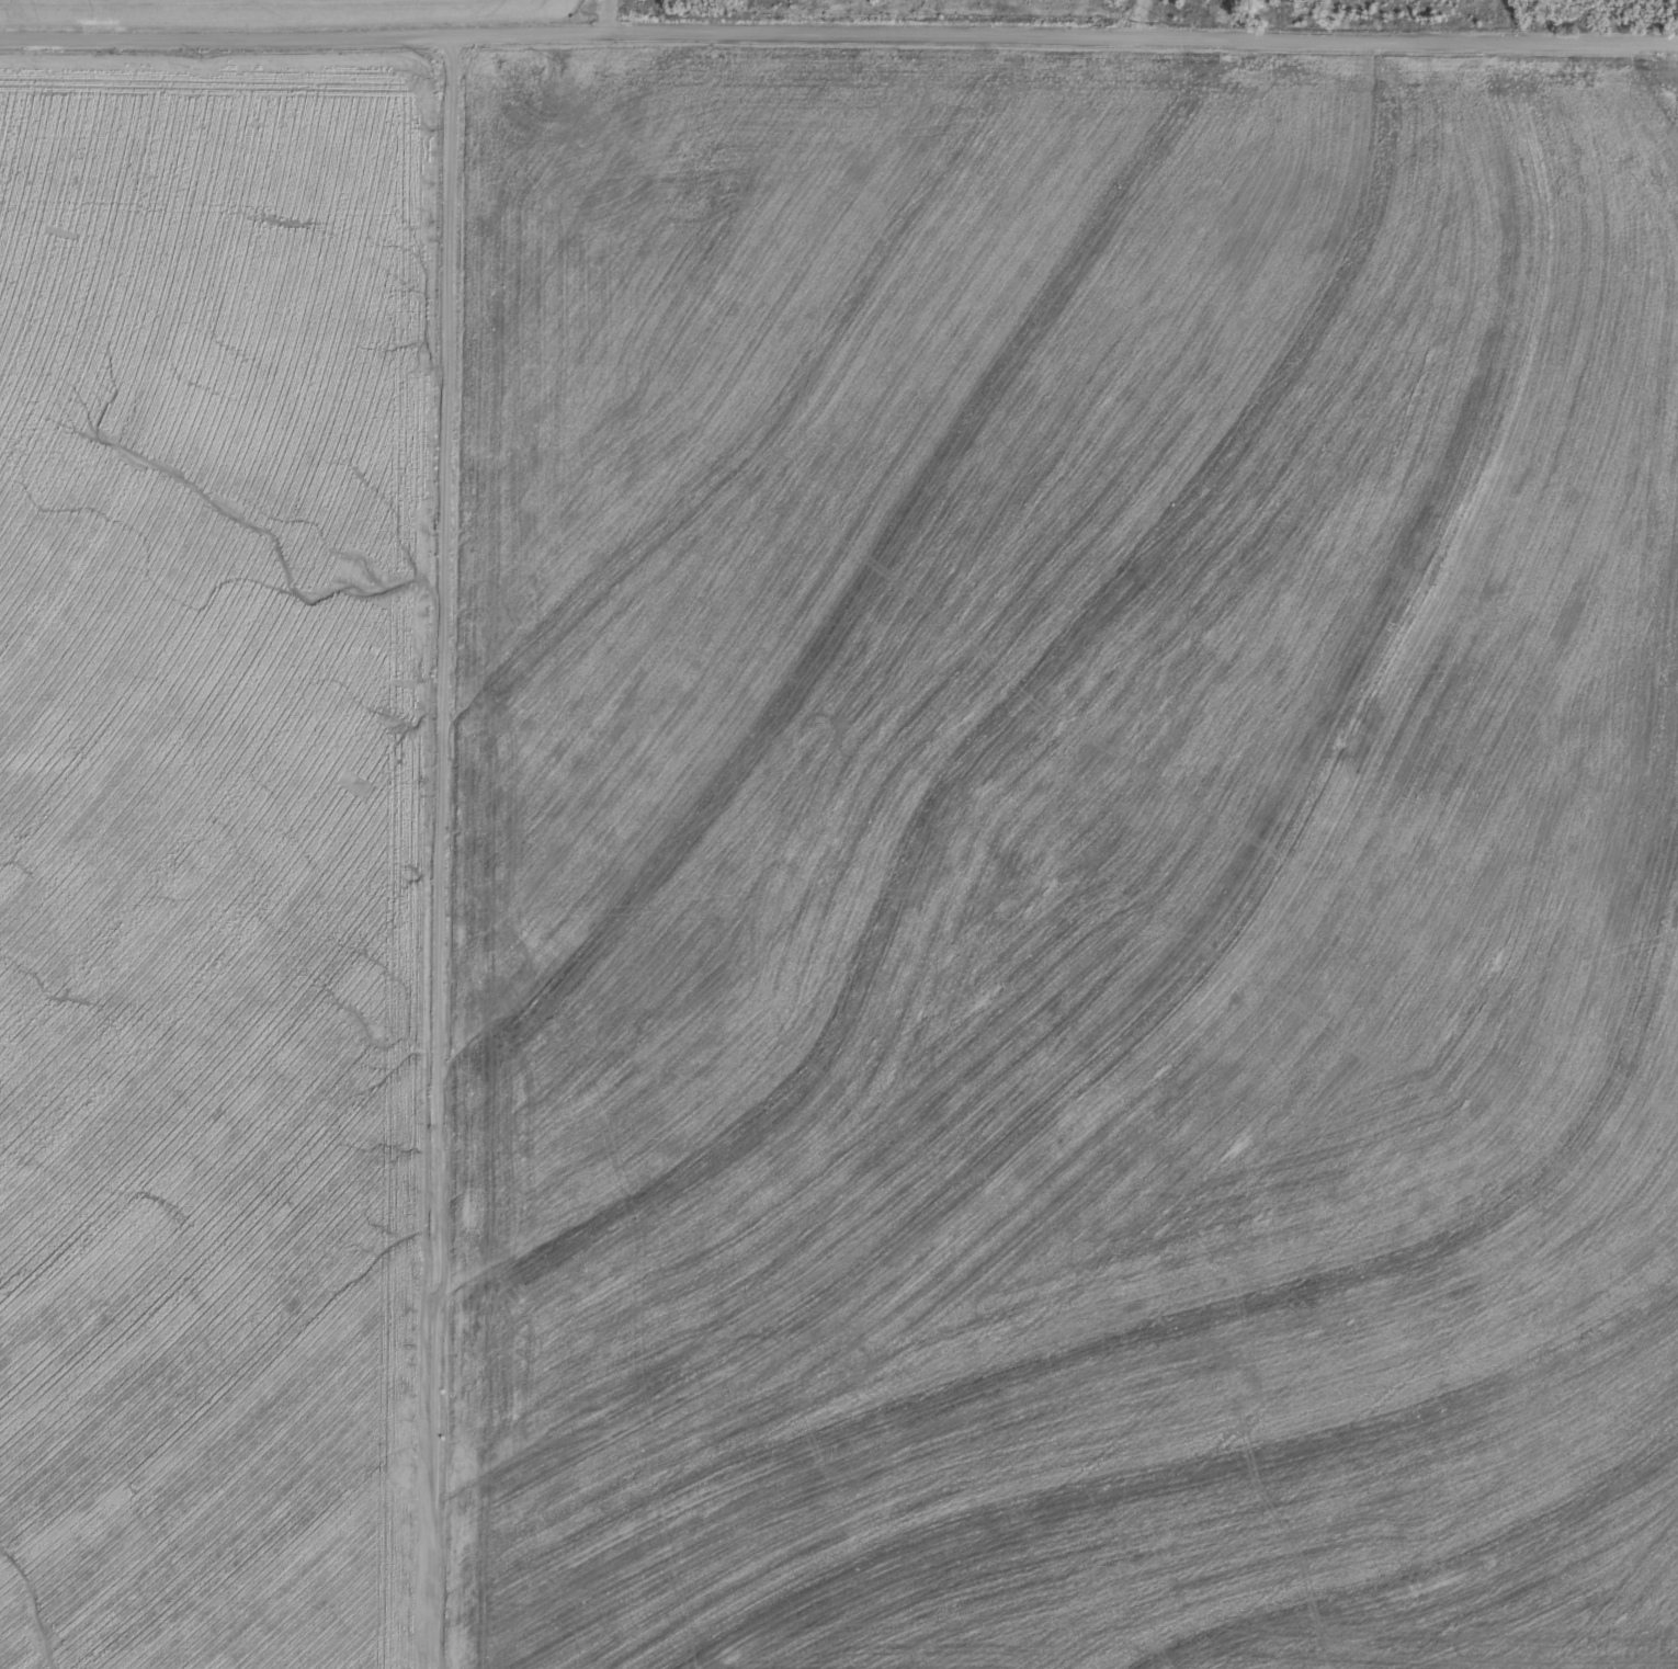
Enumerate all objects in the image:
road: (580, 27)
road: (838, 57)
road: (405, 867)

